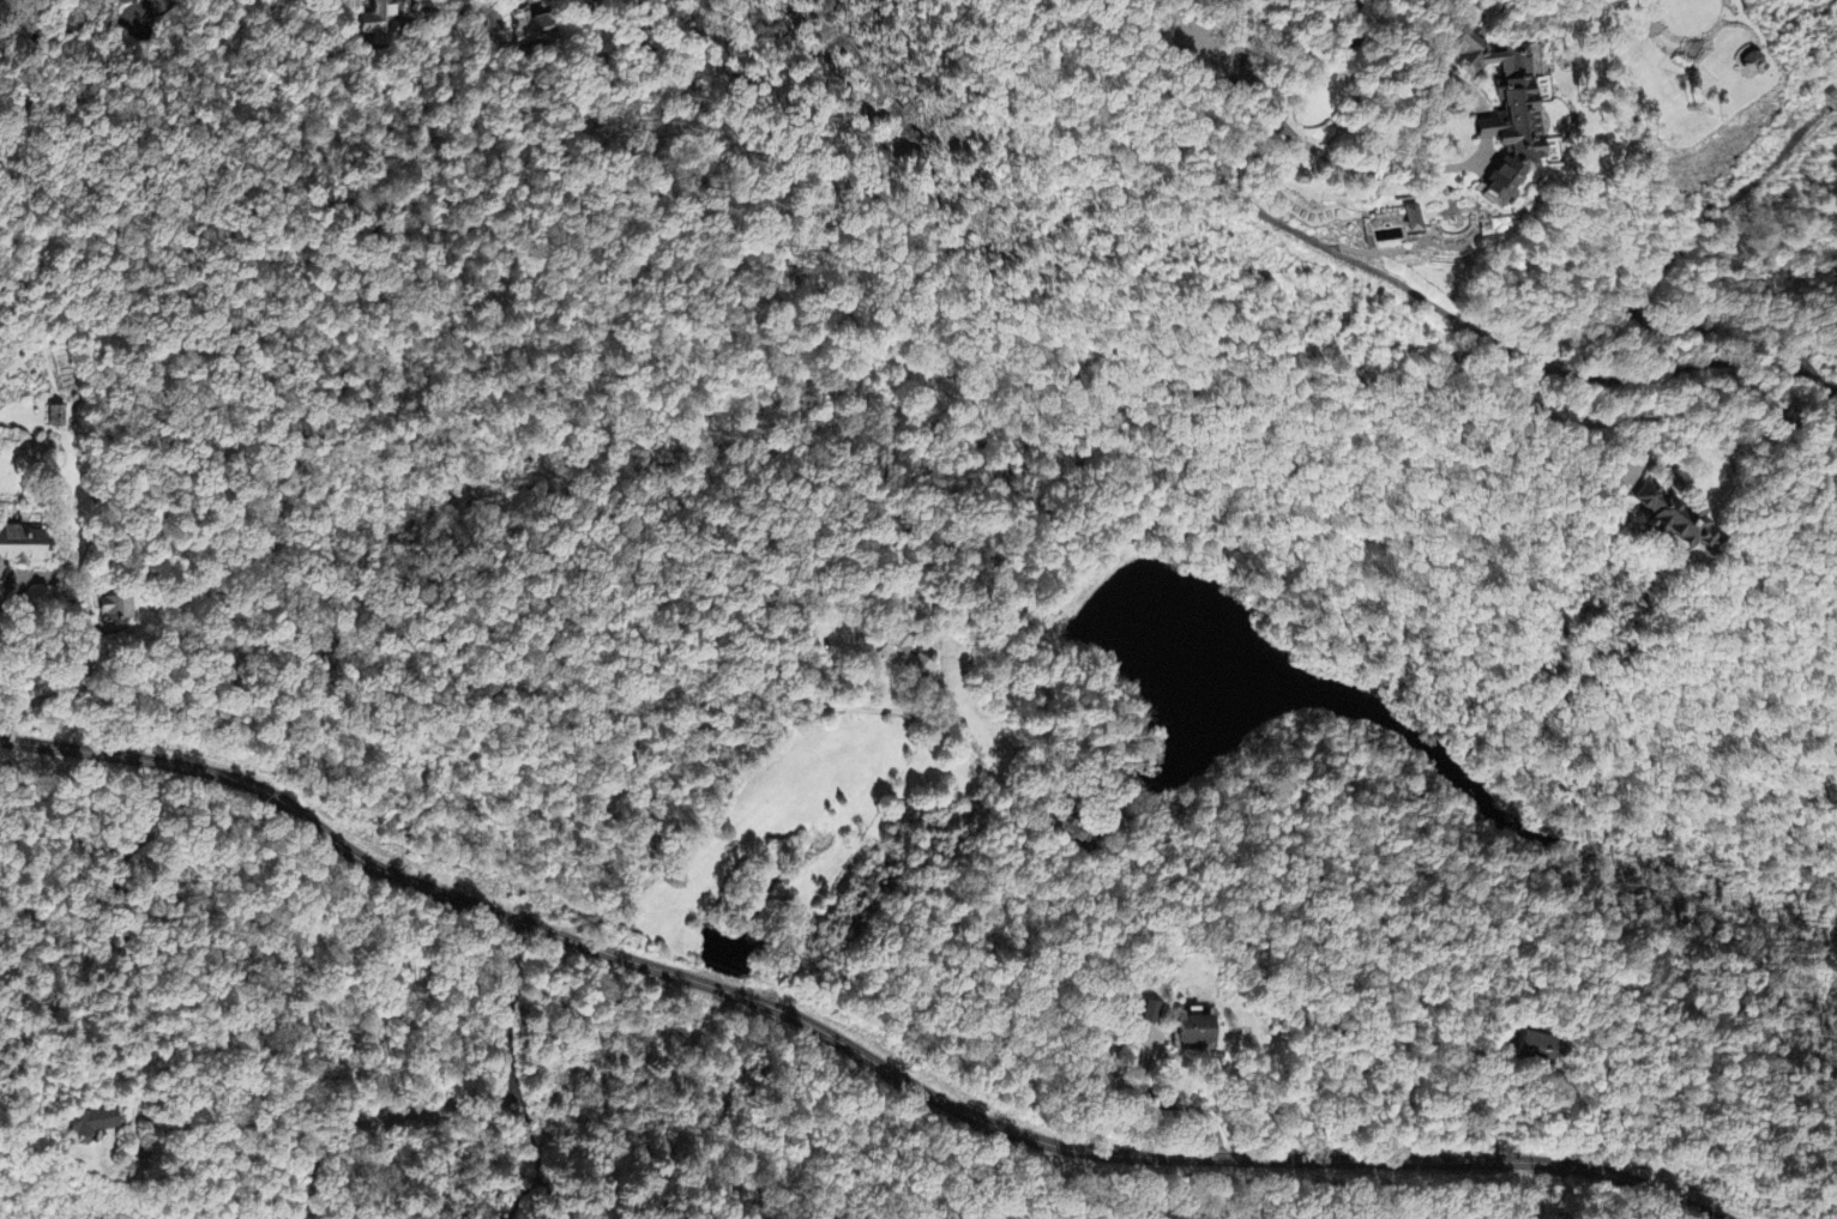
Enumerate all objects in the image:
building: (119, 4)
building: (157, 7)
building: (379, 23)
building: (529, 30)
building: (1511, 116)
building: (1415, 222)
road: (1643, 286)
road: (1422, 289)
building: (59, 420)
building: (1681, 521)
building: (25, 550)
building: (118, 611)
building: (909, 659)
building: (1067, 832)
road: (126, 915)
building: (1156, 1016)
building: (1203, 1034)
road: (843, 1042)
building: (1542, 1051)
road: (512, 1070)
building: (92, 1126)

